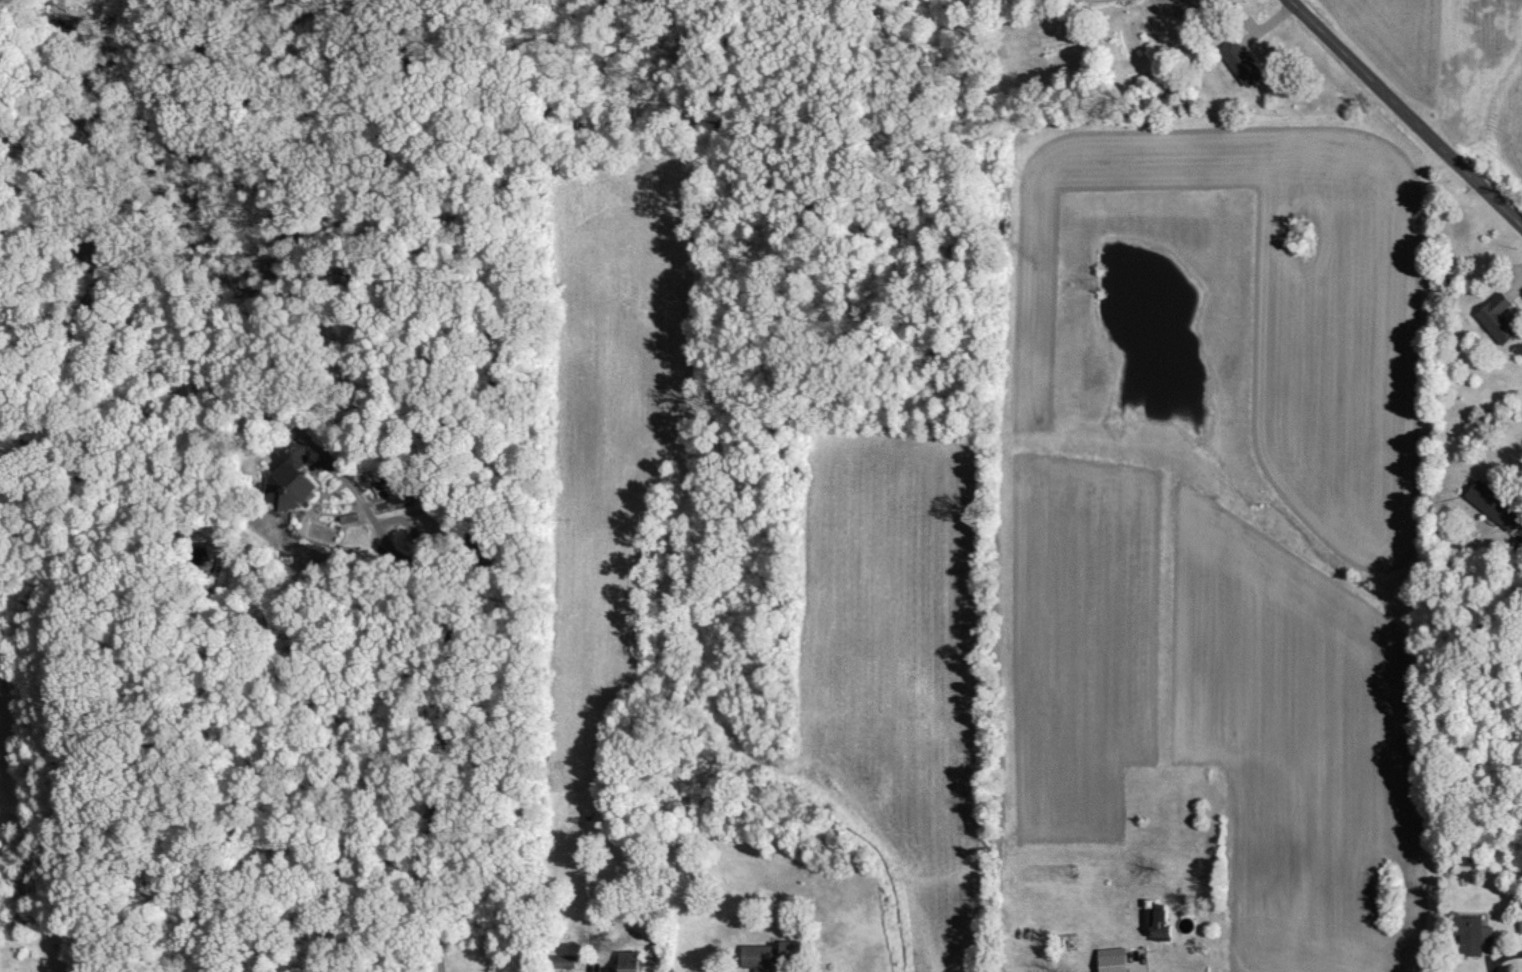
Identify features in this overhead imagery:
building: (1239, 62)
road: (1407, 111)
building: (1496, 318)
building: (298, 487)
building: (1493, 503)
road: (450, 693)
building: (1520, 917)
building: (1158, 920)
building: (1470, 936)
building: (765, 954)
building: (1109, 960)
building: (561, 961)
building: (624, 961)
road: (1508, 963)

